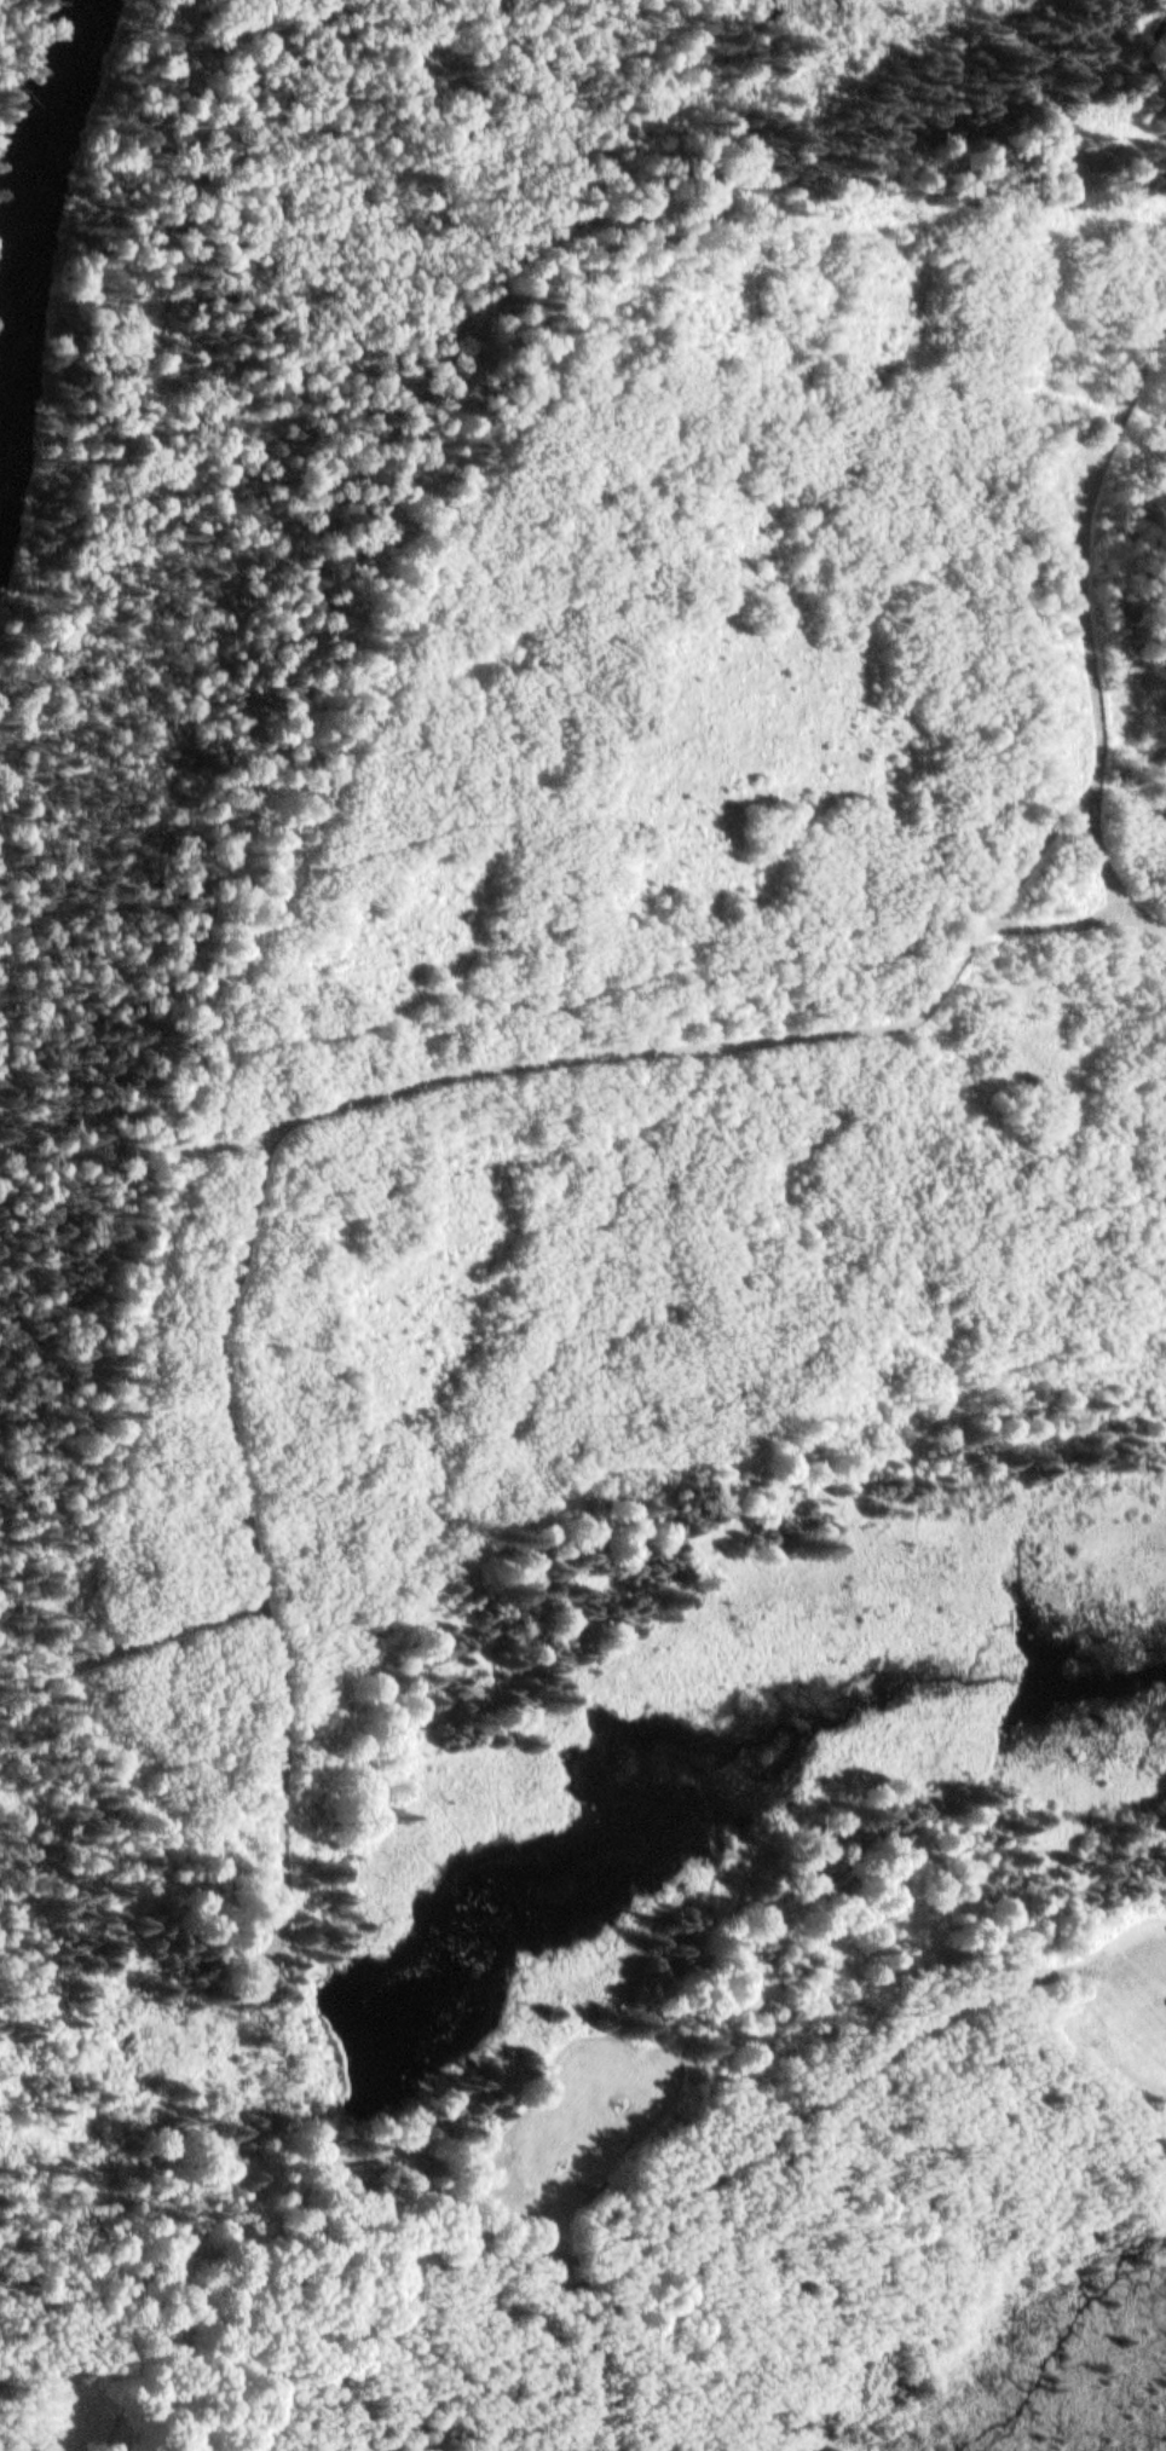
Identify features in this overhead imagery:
river: (16, 288)

